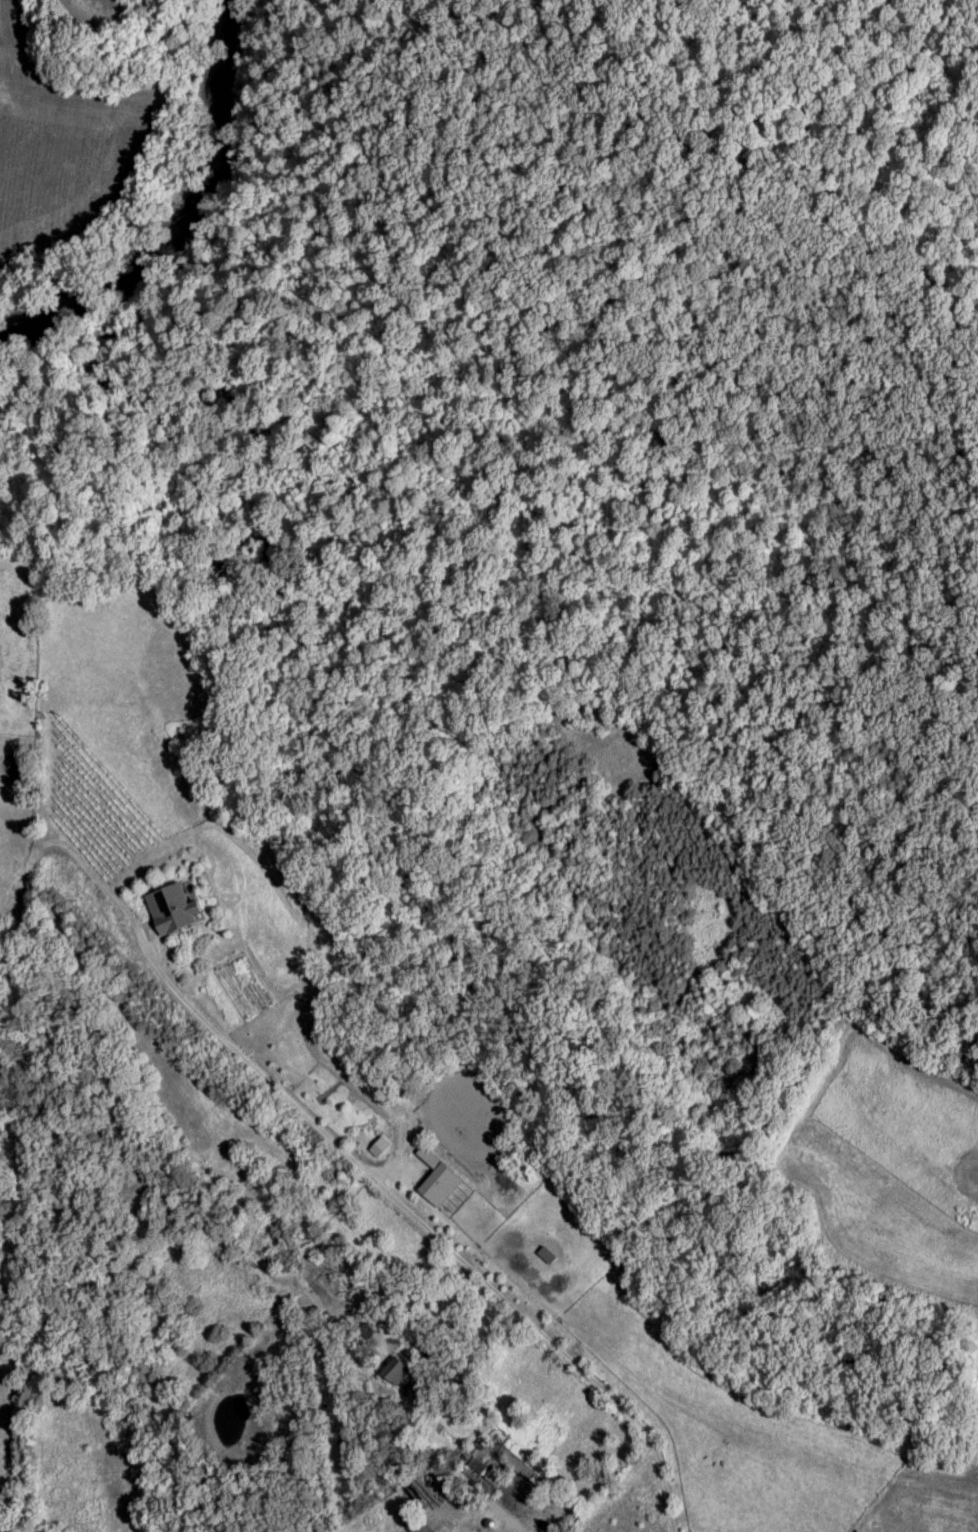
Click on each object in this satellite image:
river: (169, 194)
building: (173, 912)
building: (437, 1181)
road: (441, 1232)
building: (546, 1258)
building: (395, 1373)
building: (426, 1401)
building: (477, 1468)
road: (444, 1472)
building: (451, 1502)
building: (417, 1525)

